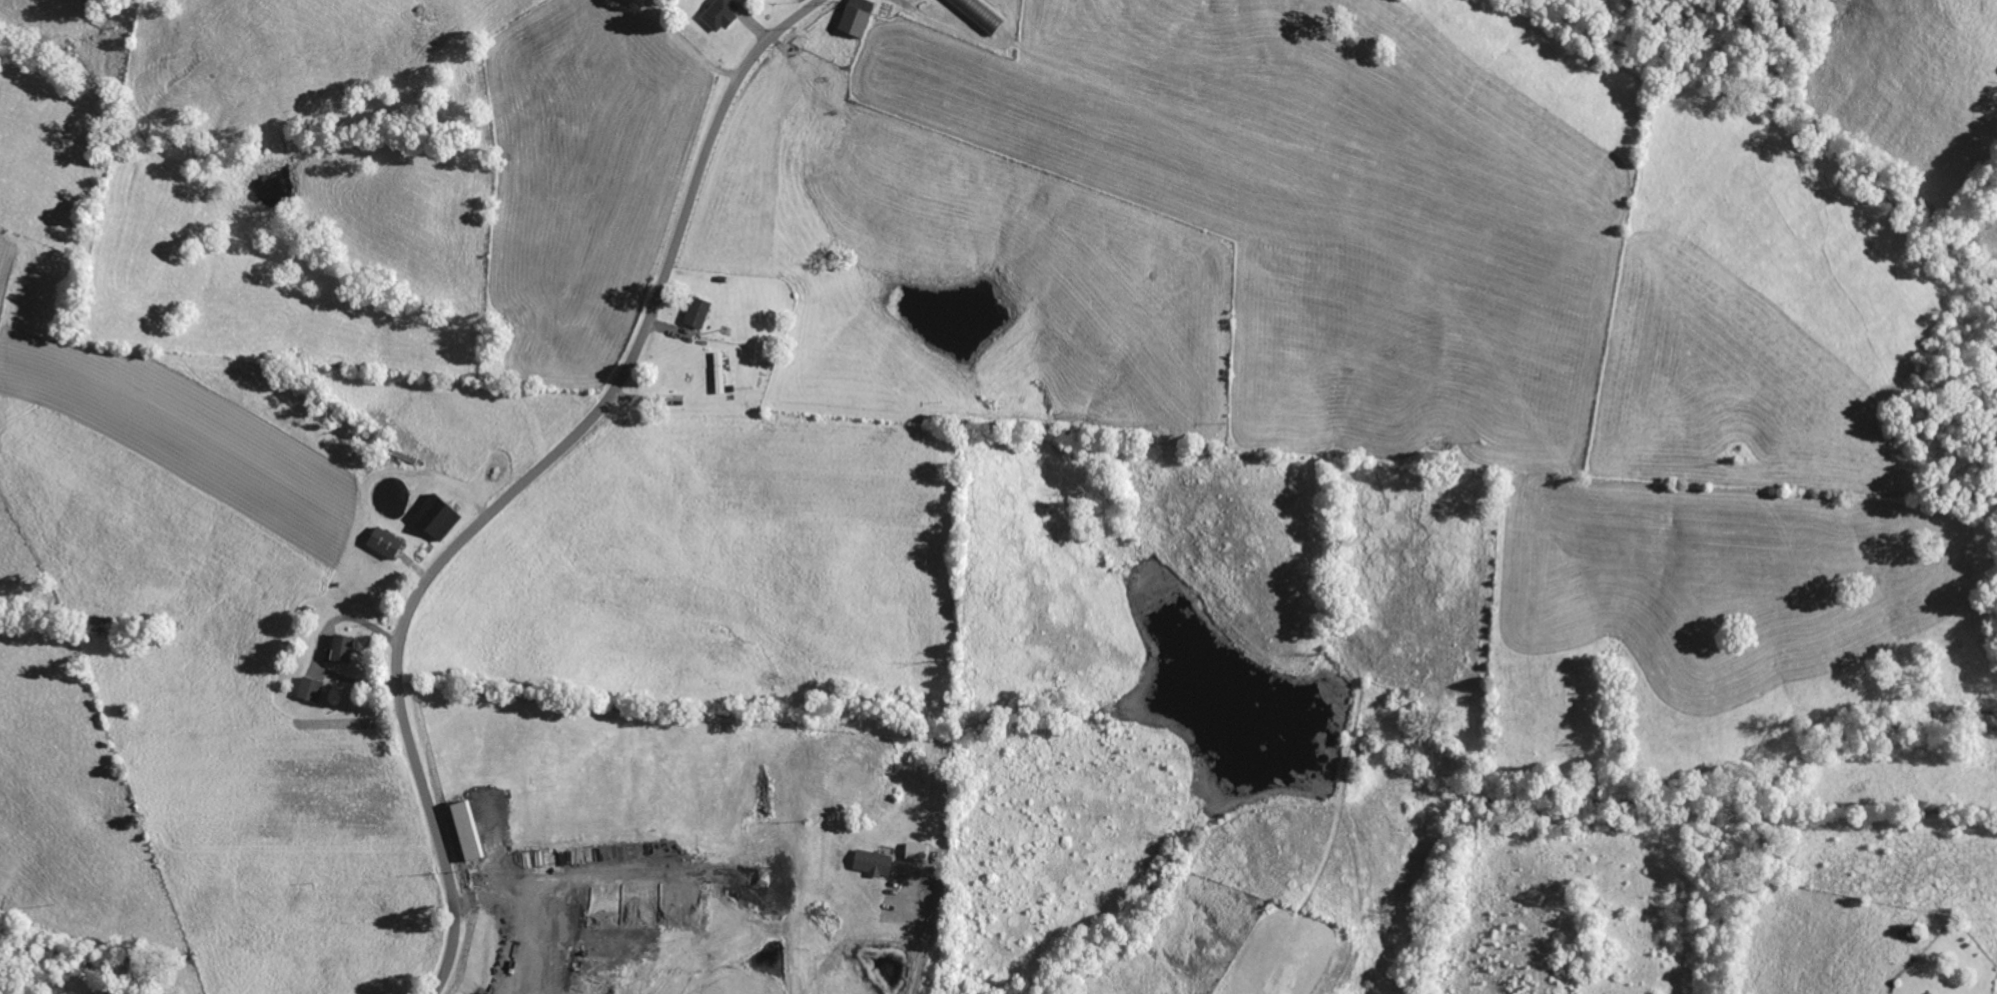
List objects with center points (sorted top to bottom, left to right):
building: (716, 13)
building: (858, 17)
road: (754, 25)
building: (694, 312)
building: (717, 372)
road: (507, 481)
building: (437, 511)
building: (388, 542)
road: (411, 560)
road: (342, 616)
building: (345, 648)
road: (320, 675)
building: (311, 688)
building: (470, 830)
building: (913, 851)
building: (872, 860)

